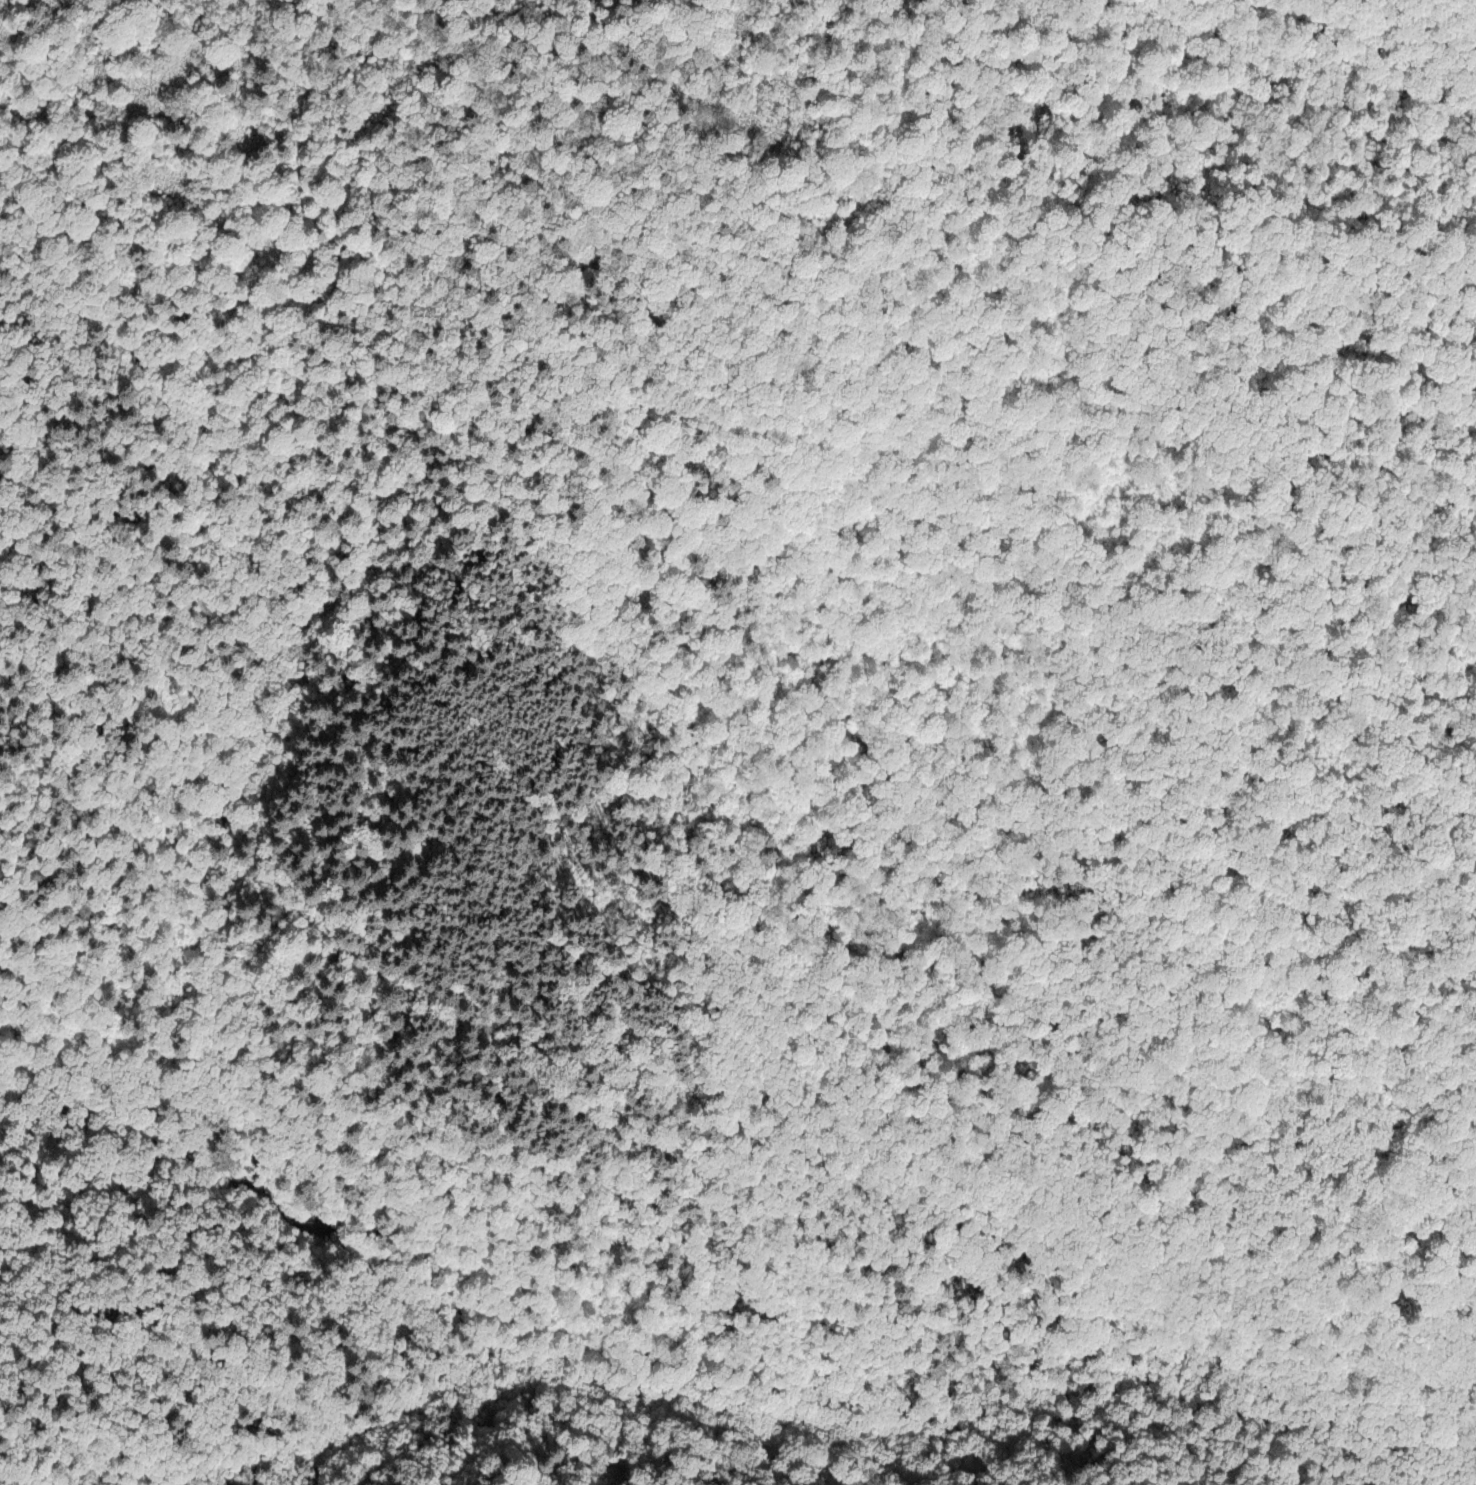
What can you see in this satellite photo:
river: (709, 1407)

